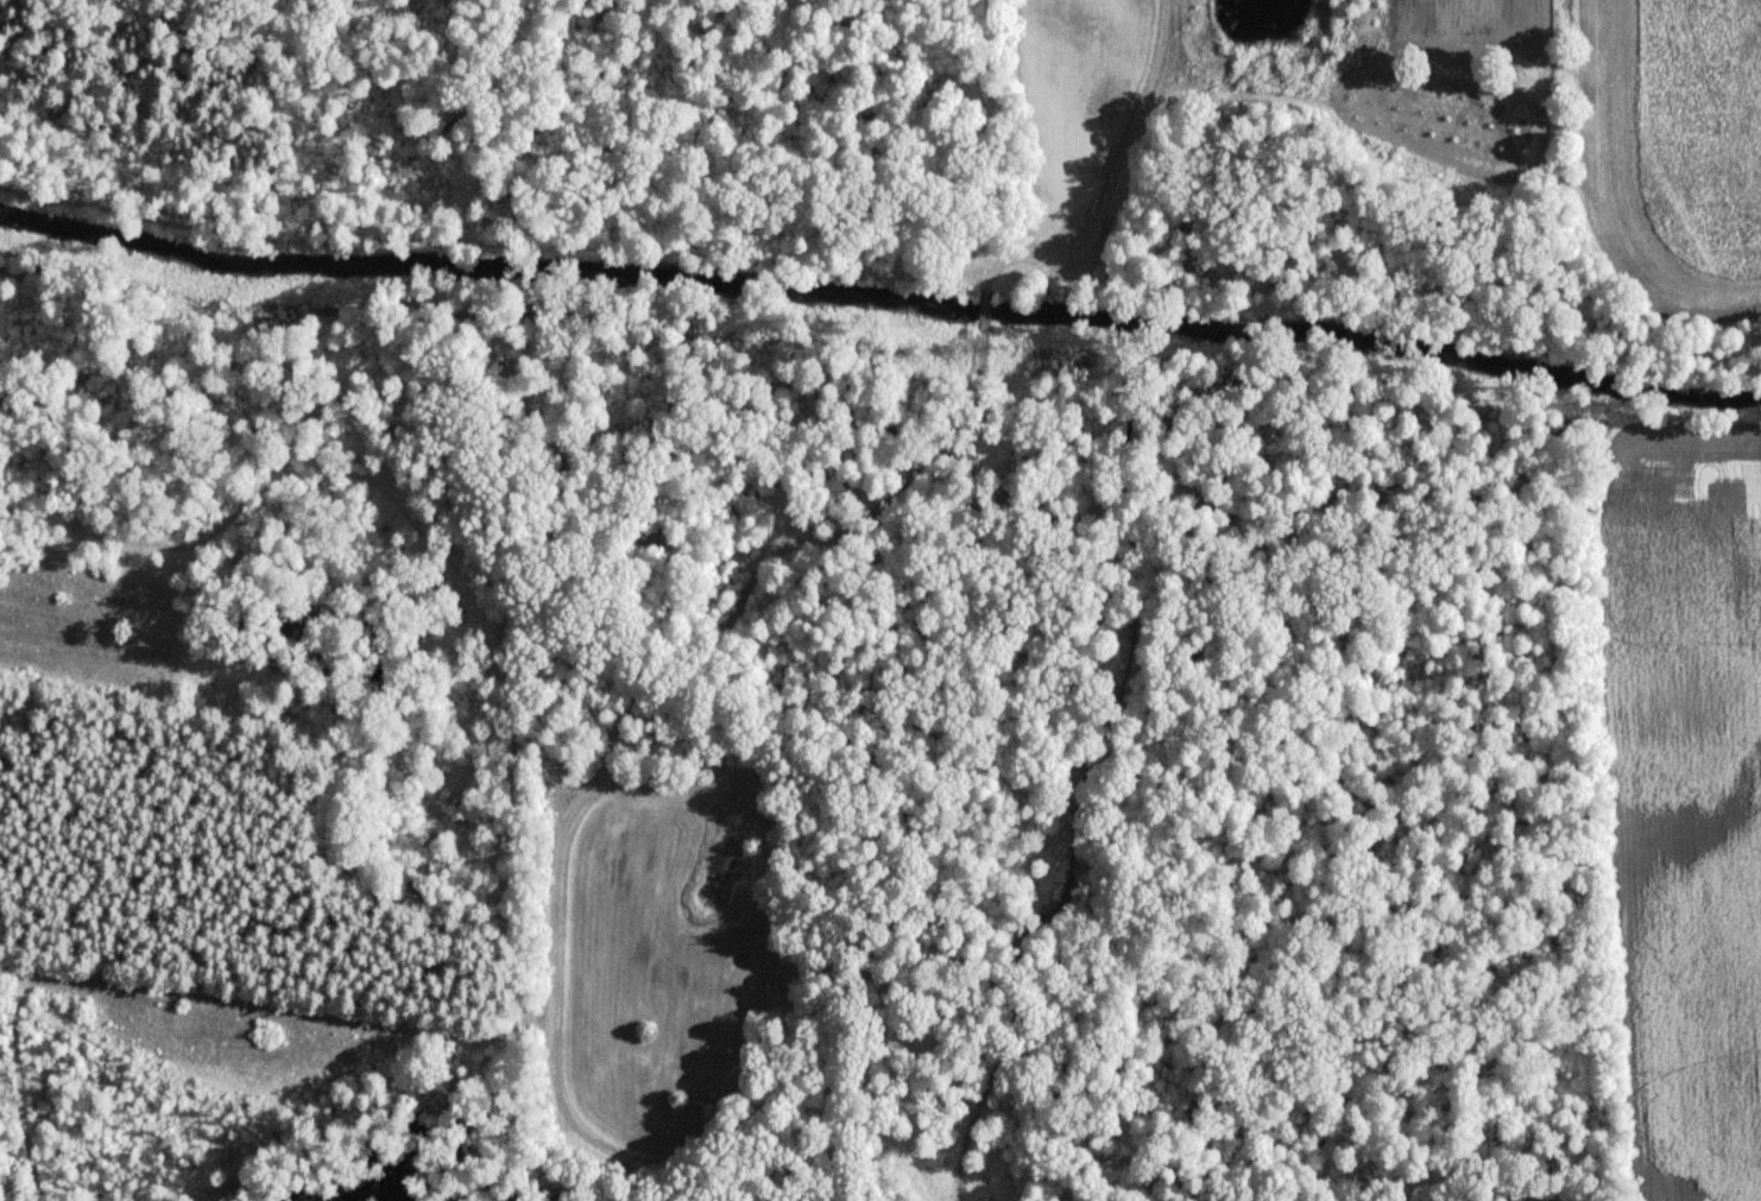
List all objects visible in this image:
river: (879, 302)
crop: (1687, 794)

